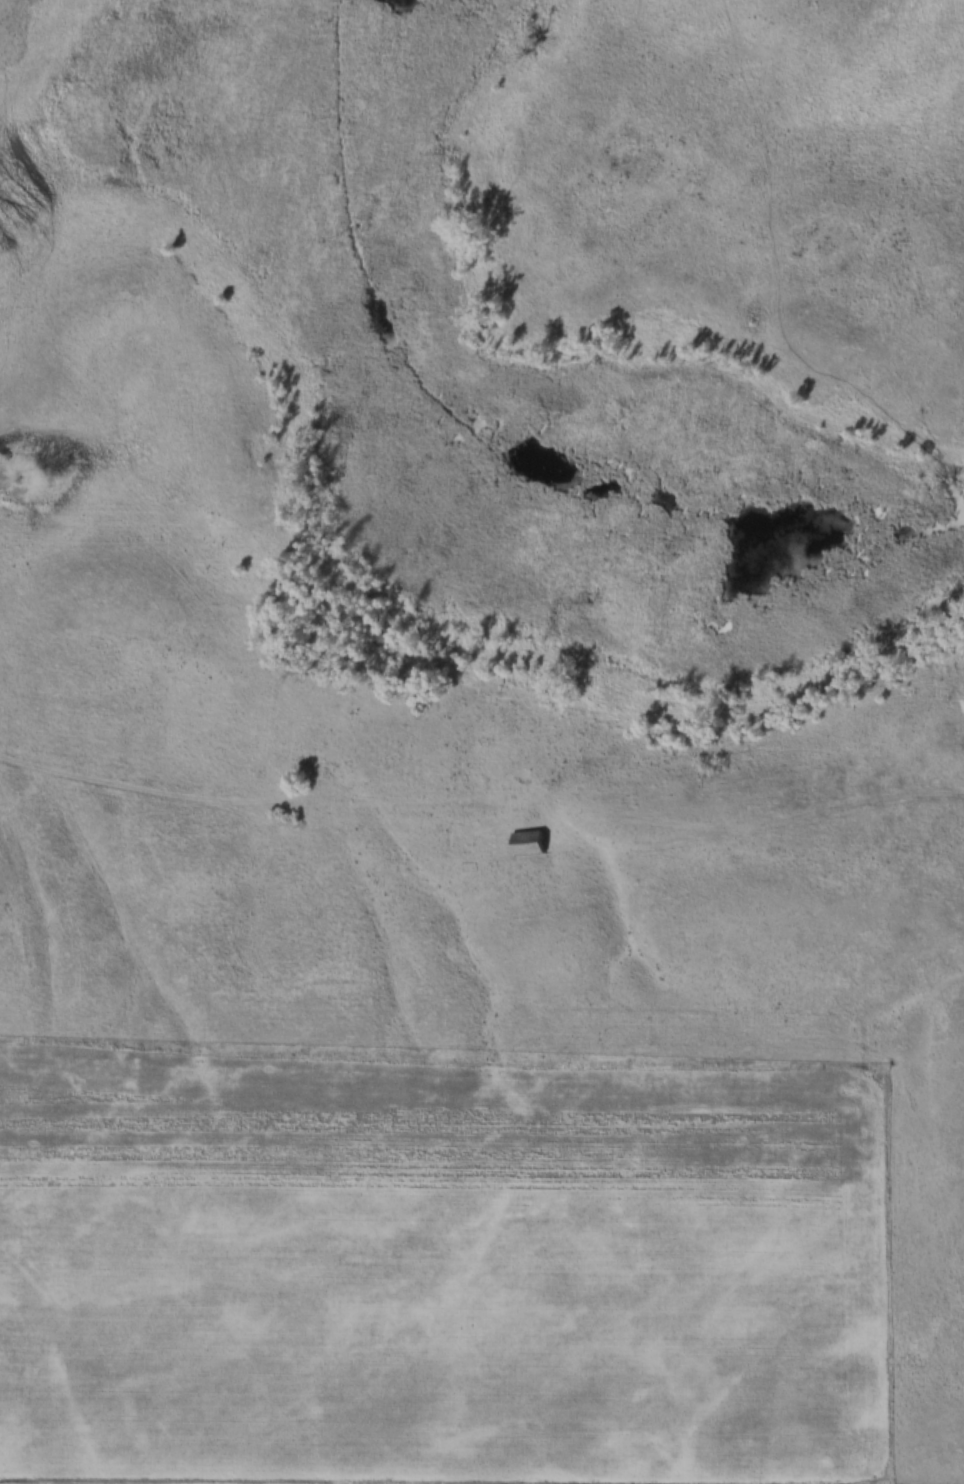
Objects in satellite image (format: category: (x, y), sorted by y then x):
building: (527, 845)

